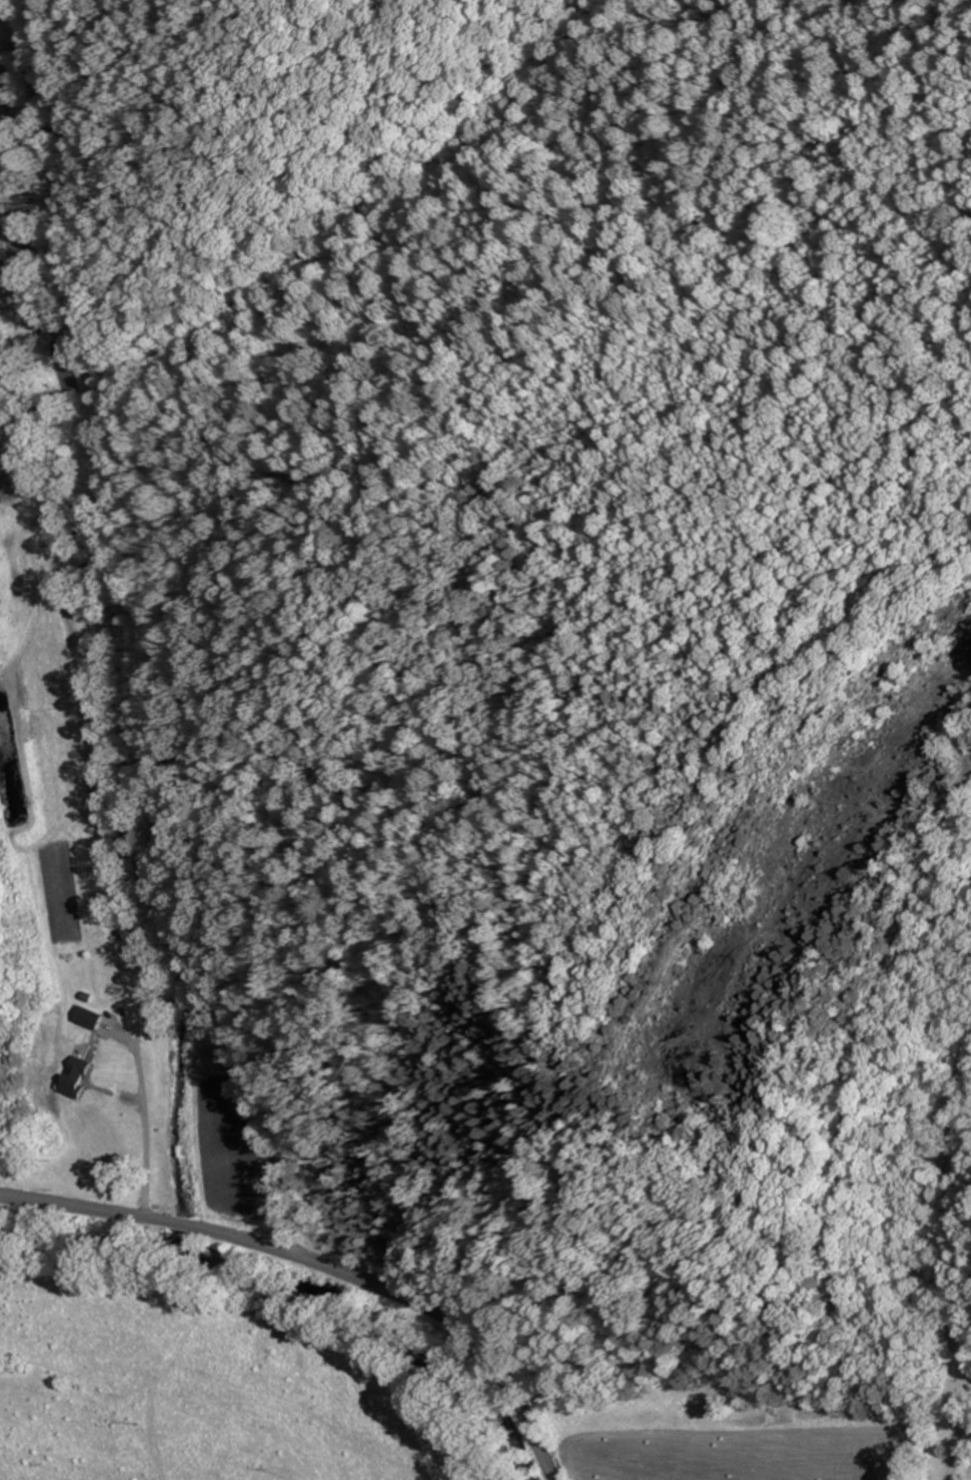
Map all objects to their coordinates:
road: (125, 632)
building: (91, 1016)
building: (85, 1076)
road: (323, 1263)

